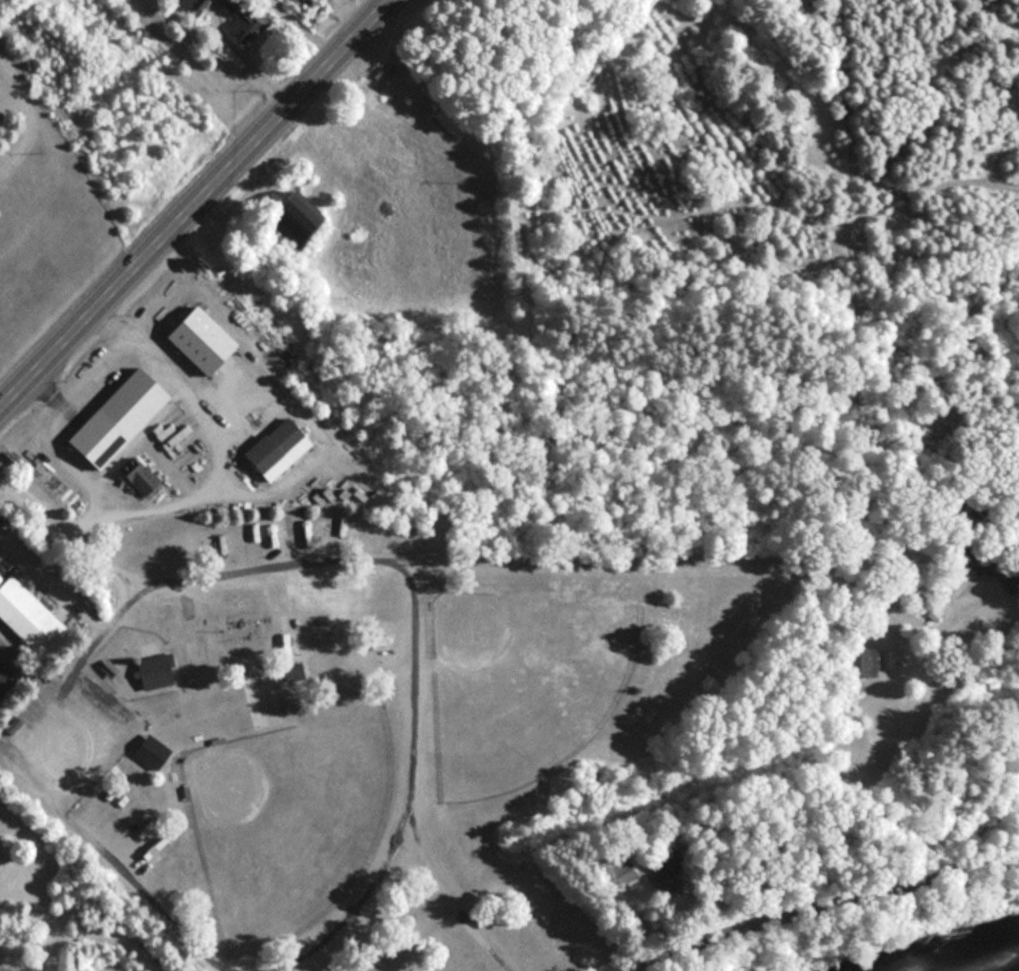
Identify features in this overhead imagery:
building: (185, 6)
building: (241, 24)
road: (196, 208)
building: (282, 218)
park: (53, 243)
building: (191, 339)
building: (270, 450)
road: (880, 512)
road: (466, 570)
building: (23, 617)
building: (241, 628)
building: (377, 640)
building: (857, 662)
building: (149, 672)
building: (291, 672)
building: (4, 678)
park: (523, 678)
road: (953, 685)
building: (145, 751)
park: (285, 817)
building: (613, 869)
road: (833, 910)
road: (51, 920)
river: (1008, 967)

